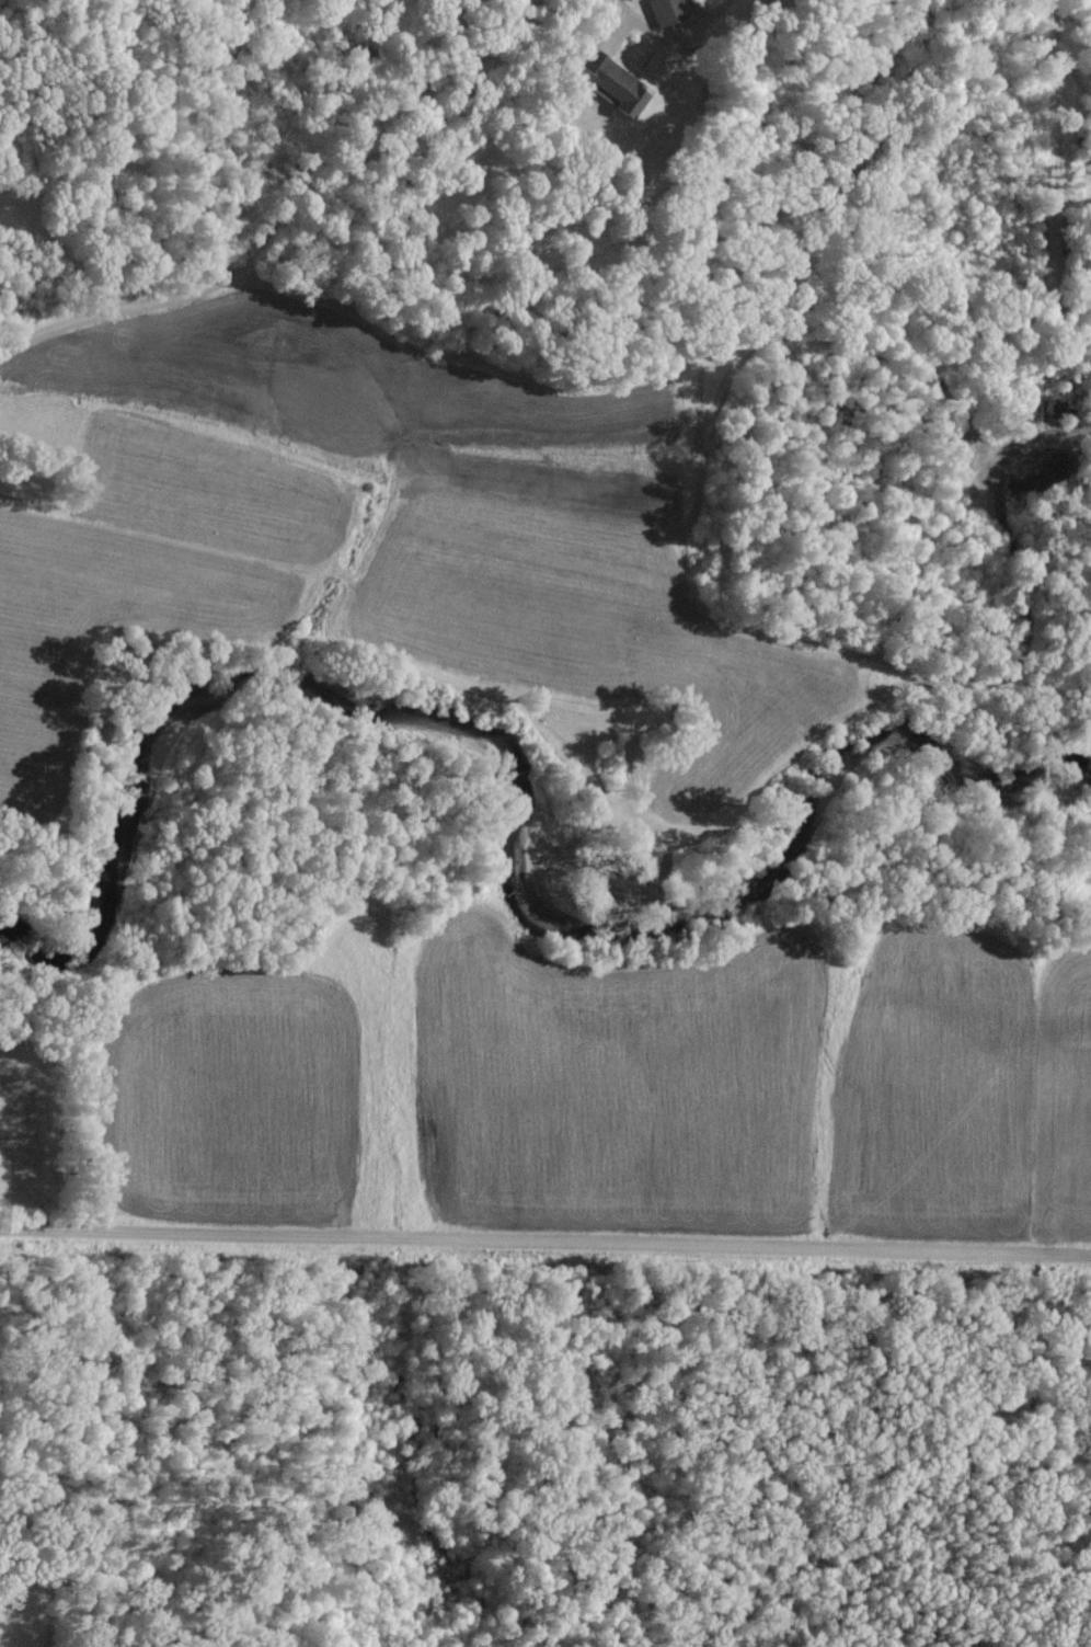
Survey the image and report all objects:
building: (668, 11)
road: (710, 20)
building: (624, 88)
road: (262, 230)
road: (544, 1240)

